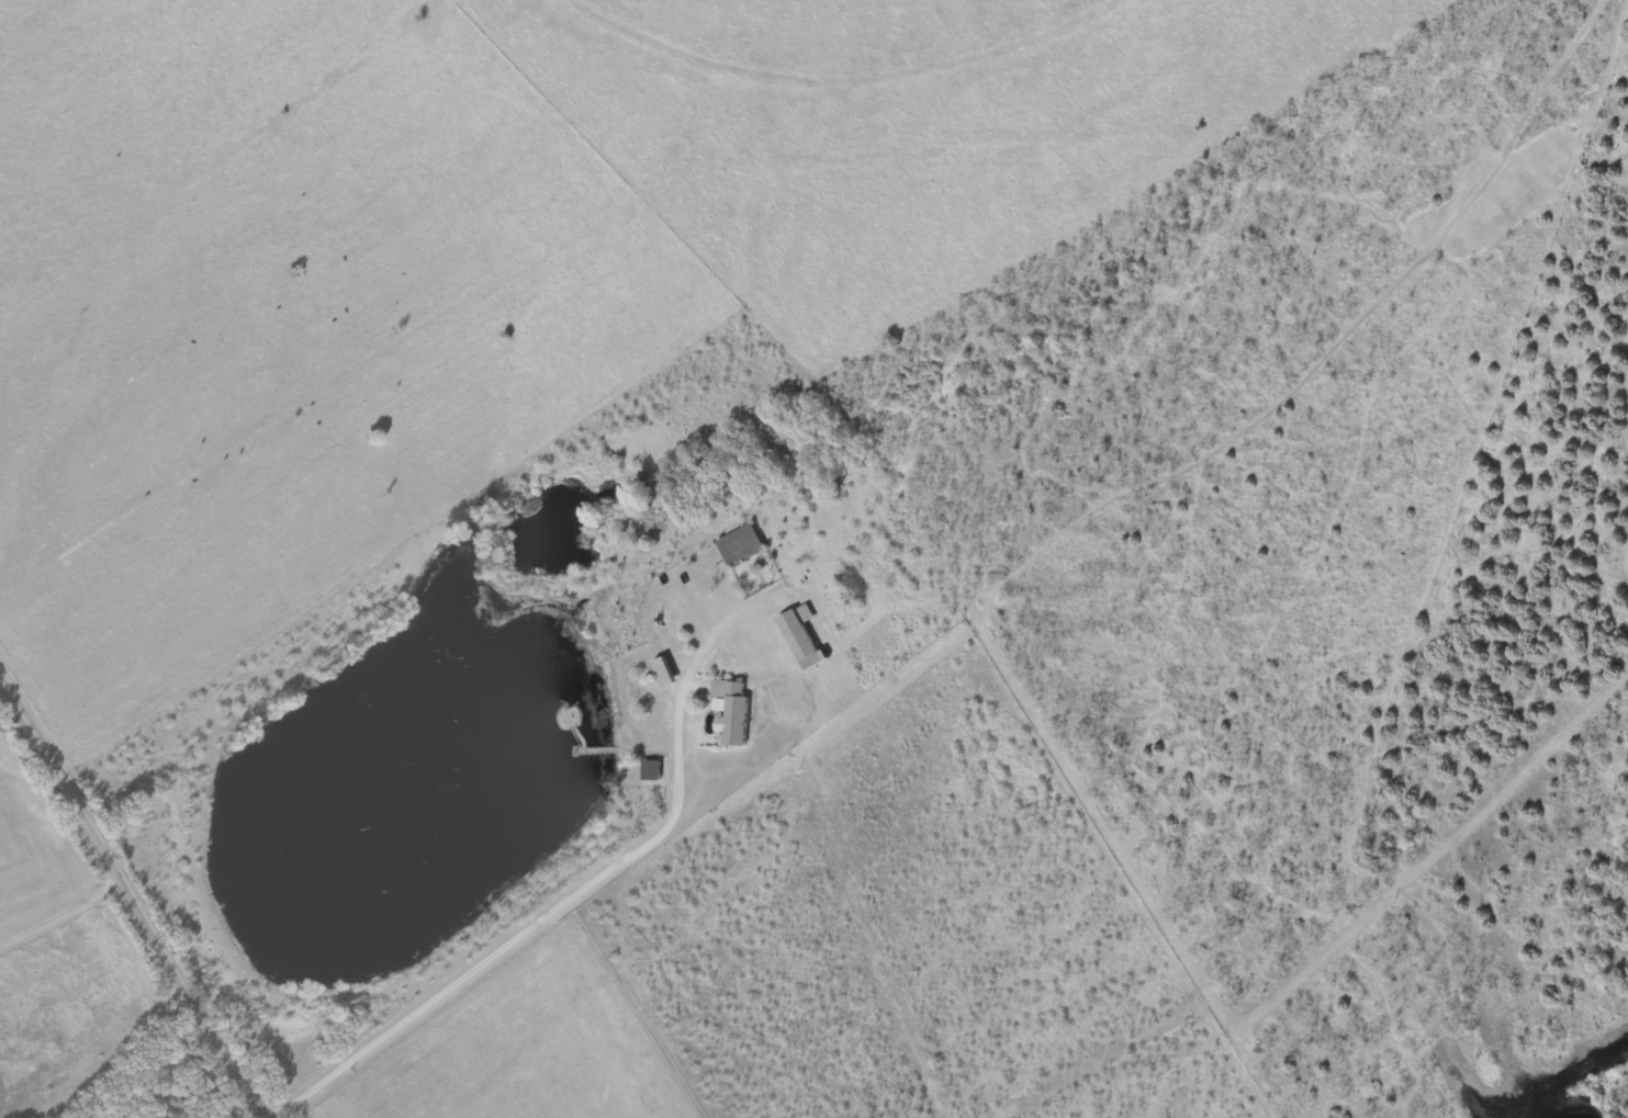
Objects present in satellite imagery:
building: (738, 547)
building: (798, 639)
building: (662, 671)
building: (729, 713)
building: (649, 771)
road: (571, 903)
road: (128, 904)

